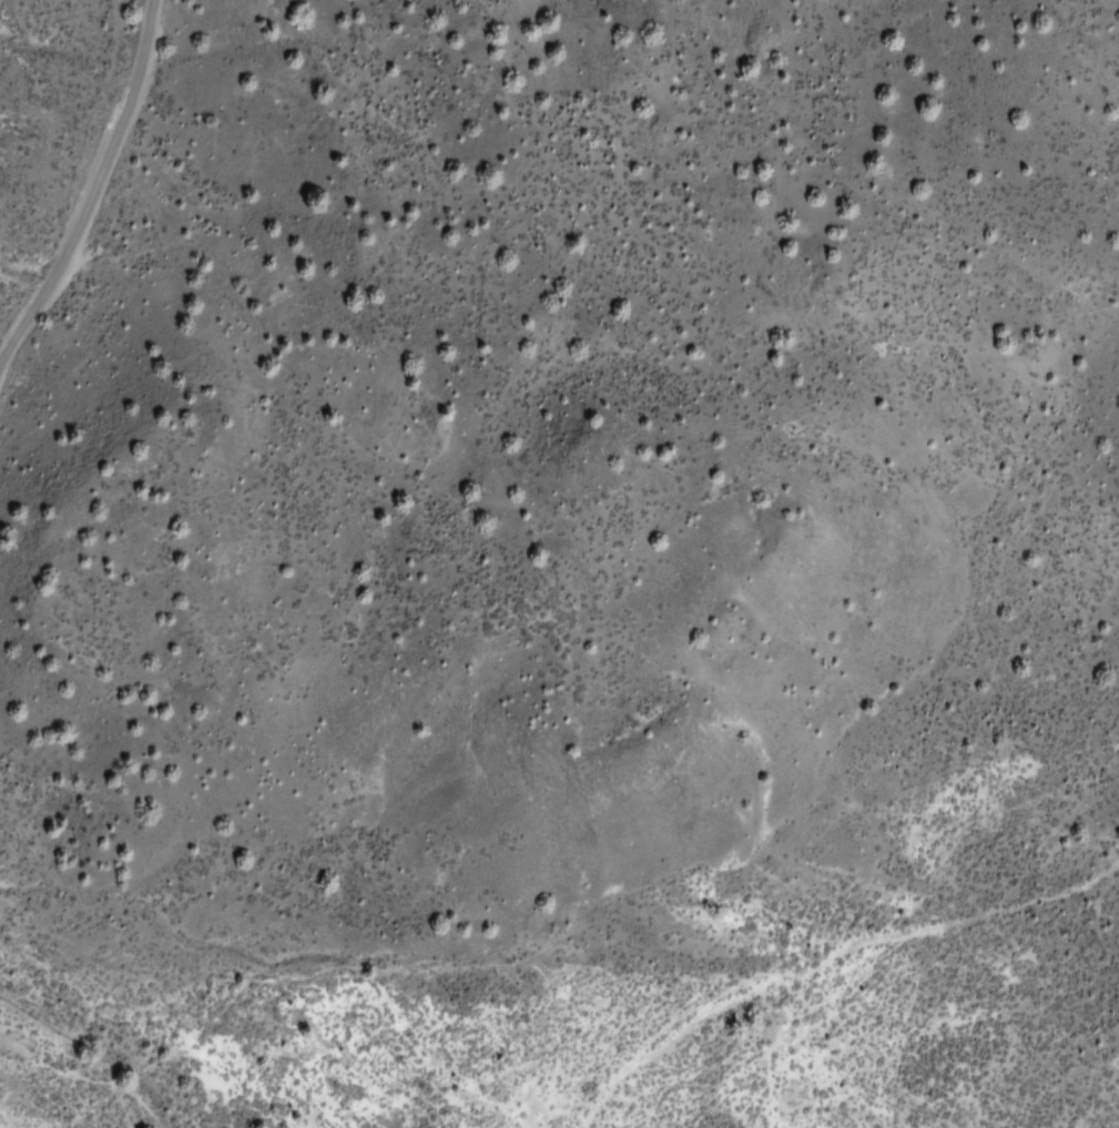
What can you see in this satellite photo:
road: (90, 187)

